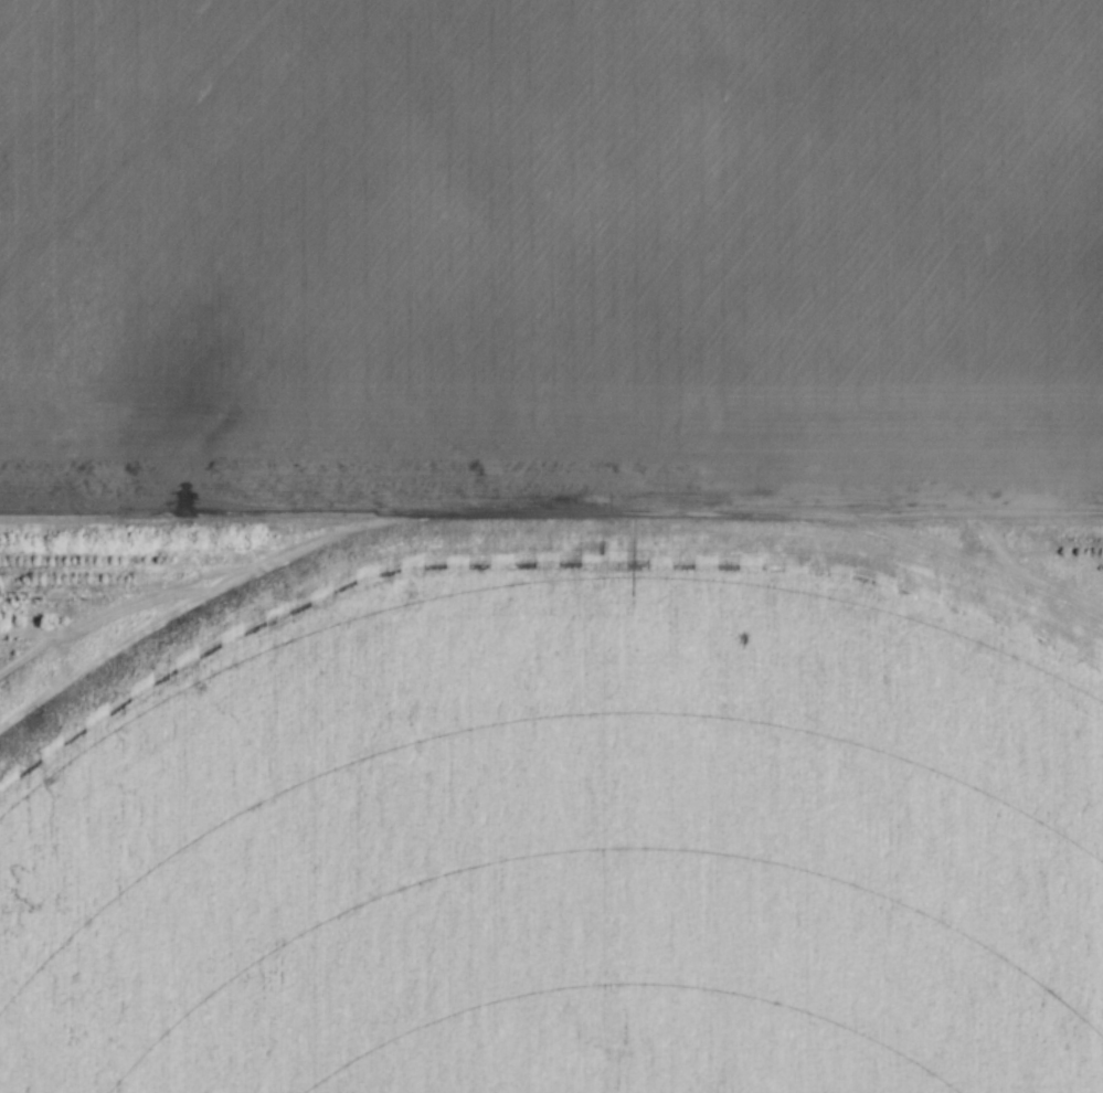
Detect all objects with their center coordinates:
crop: (550, 250)
road: (551, 514)
crop: (569, 828)

